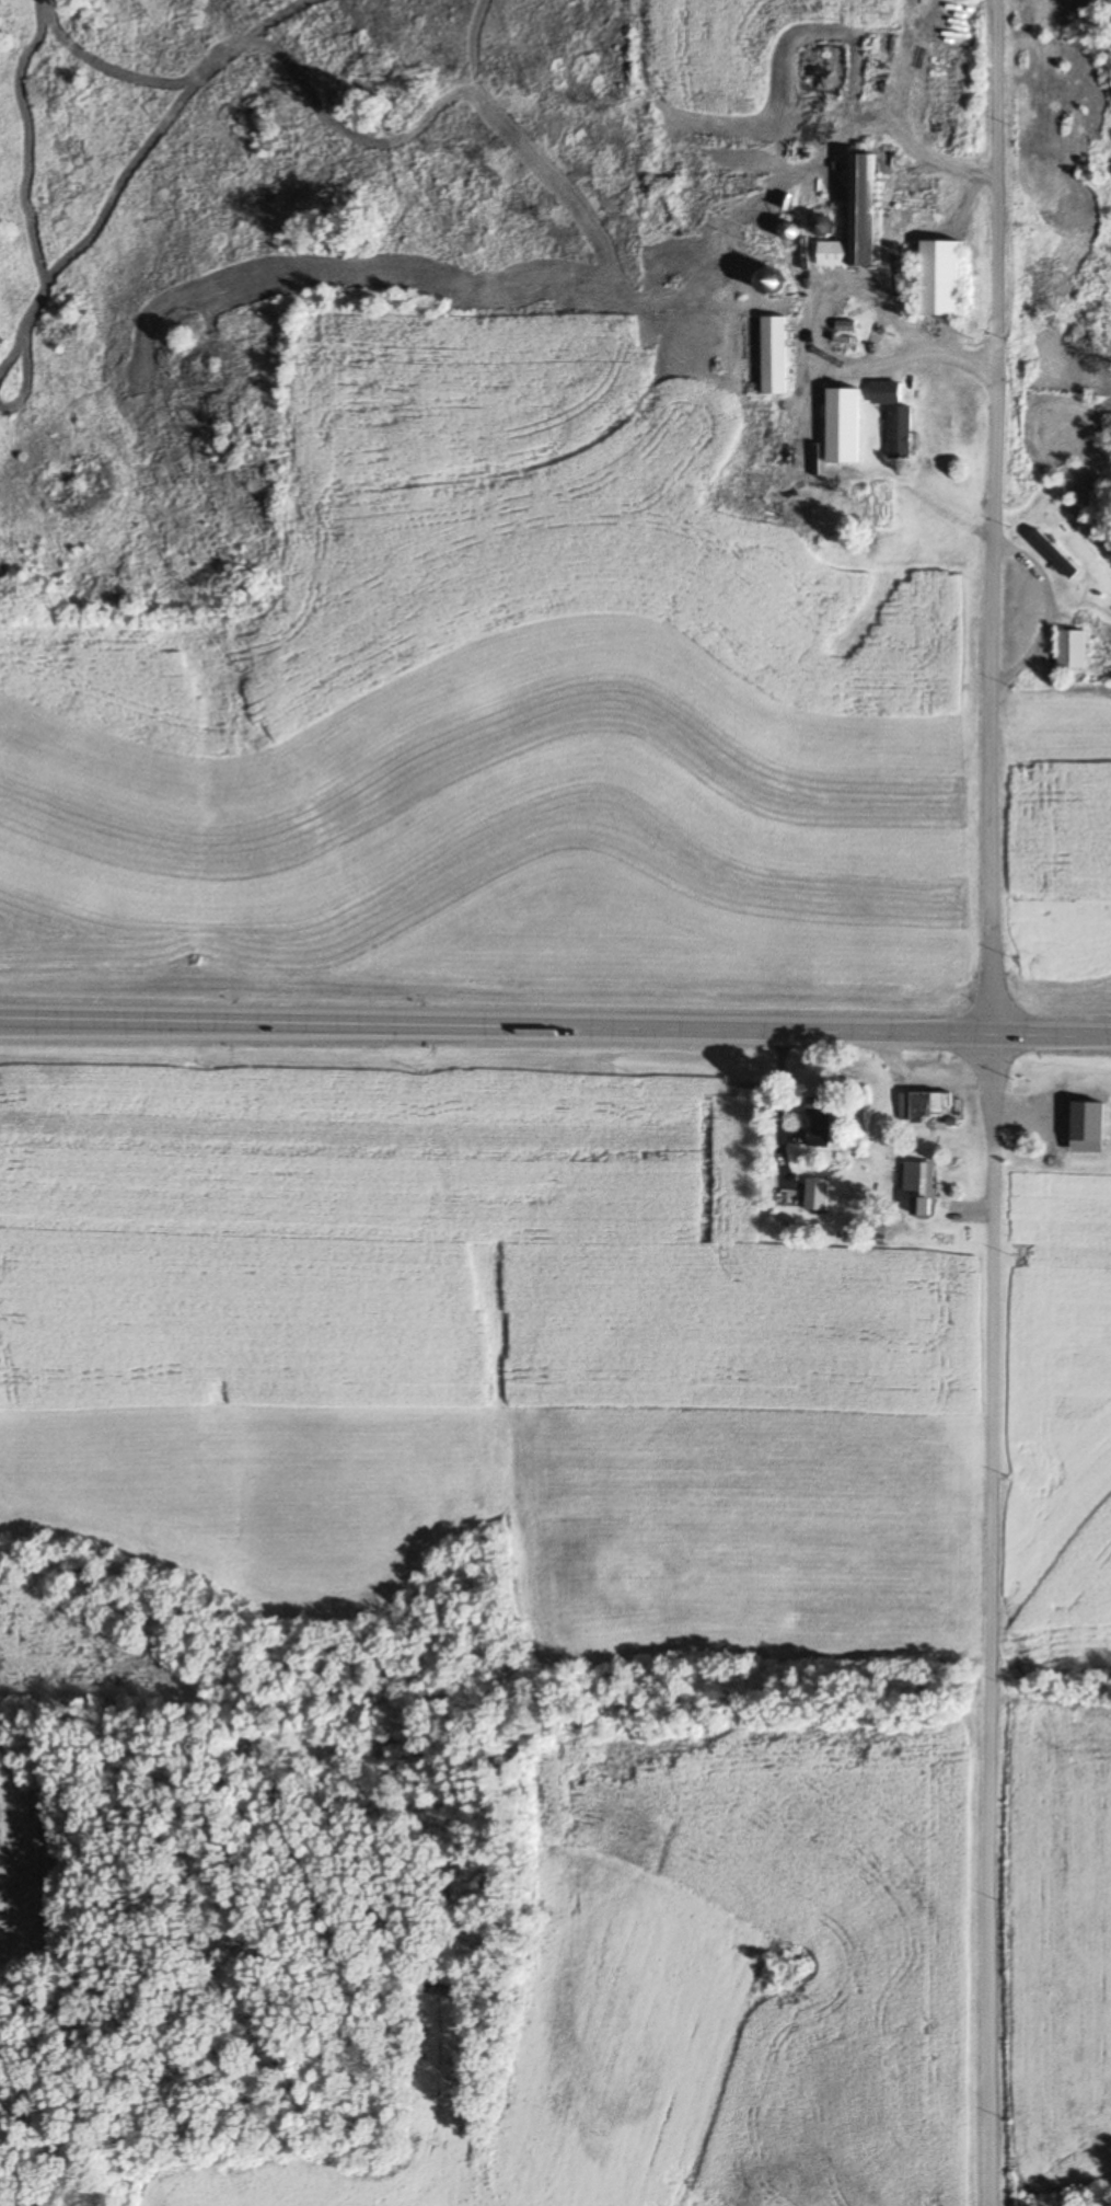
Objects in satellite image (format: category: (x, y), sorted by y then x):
building: (855, 221)
building: (939, 279)
building: (774, 356)
building: (884, 393)
building: (939, 416)
building: (847, 432)
building: (900, 434)
road: (993, 514)
building: (1055, 555)
building: (1072, 650)
road: (555, 1020)
building: (928, 1105)
building: (1052, 1118)
building: (820, 1121)
building: (923, 1192)
building: (817, 1195)
road: (994, 1369)
road: (992, 1957)

